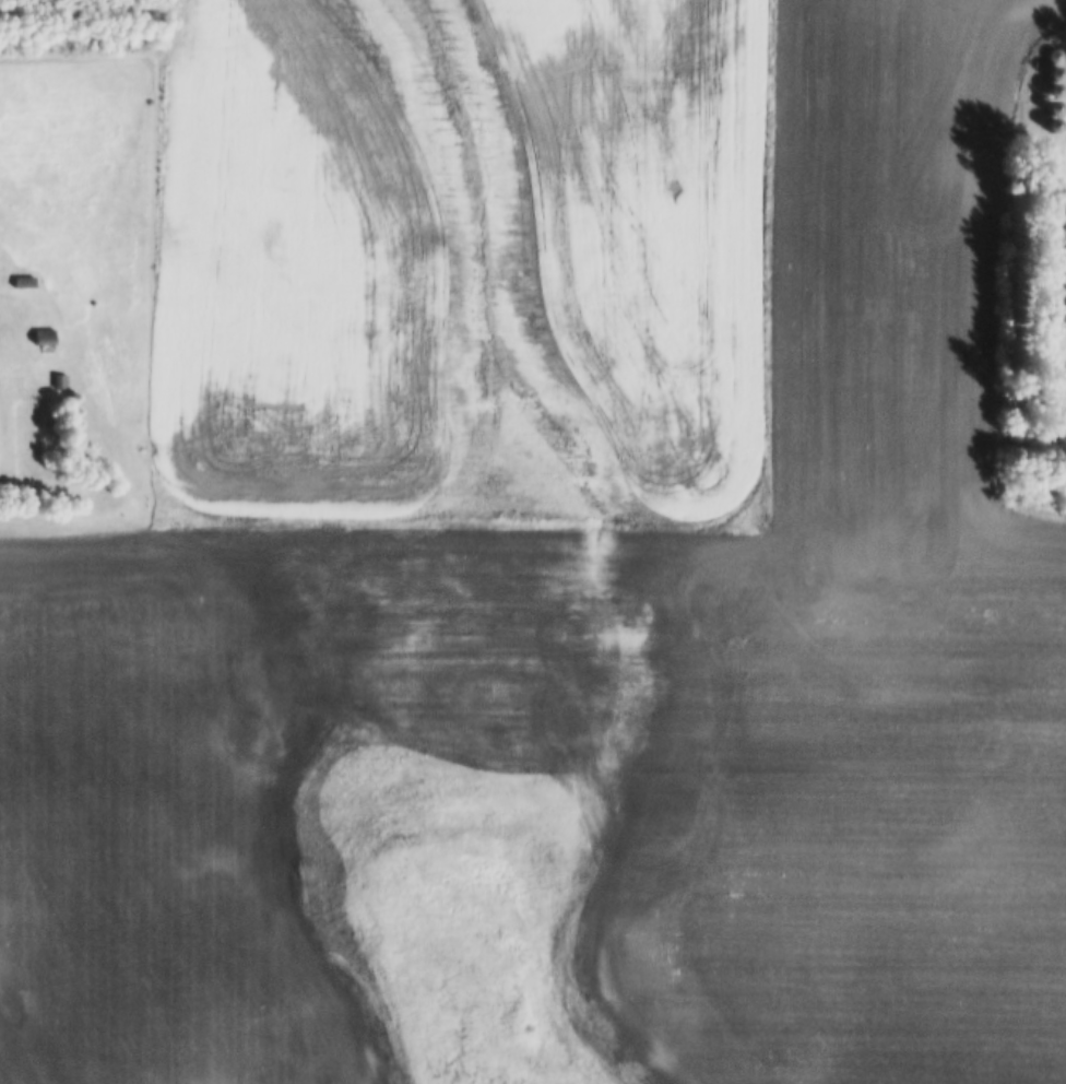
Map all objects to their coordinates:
building: (42, 335)
building: (57, 379)
road: (1061, 415)

